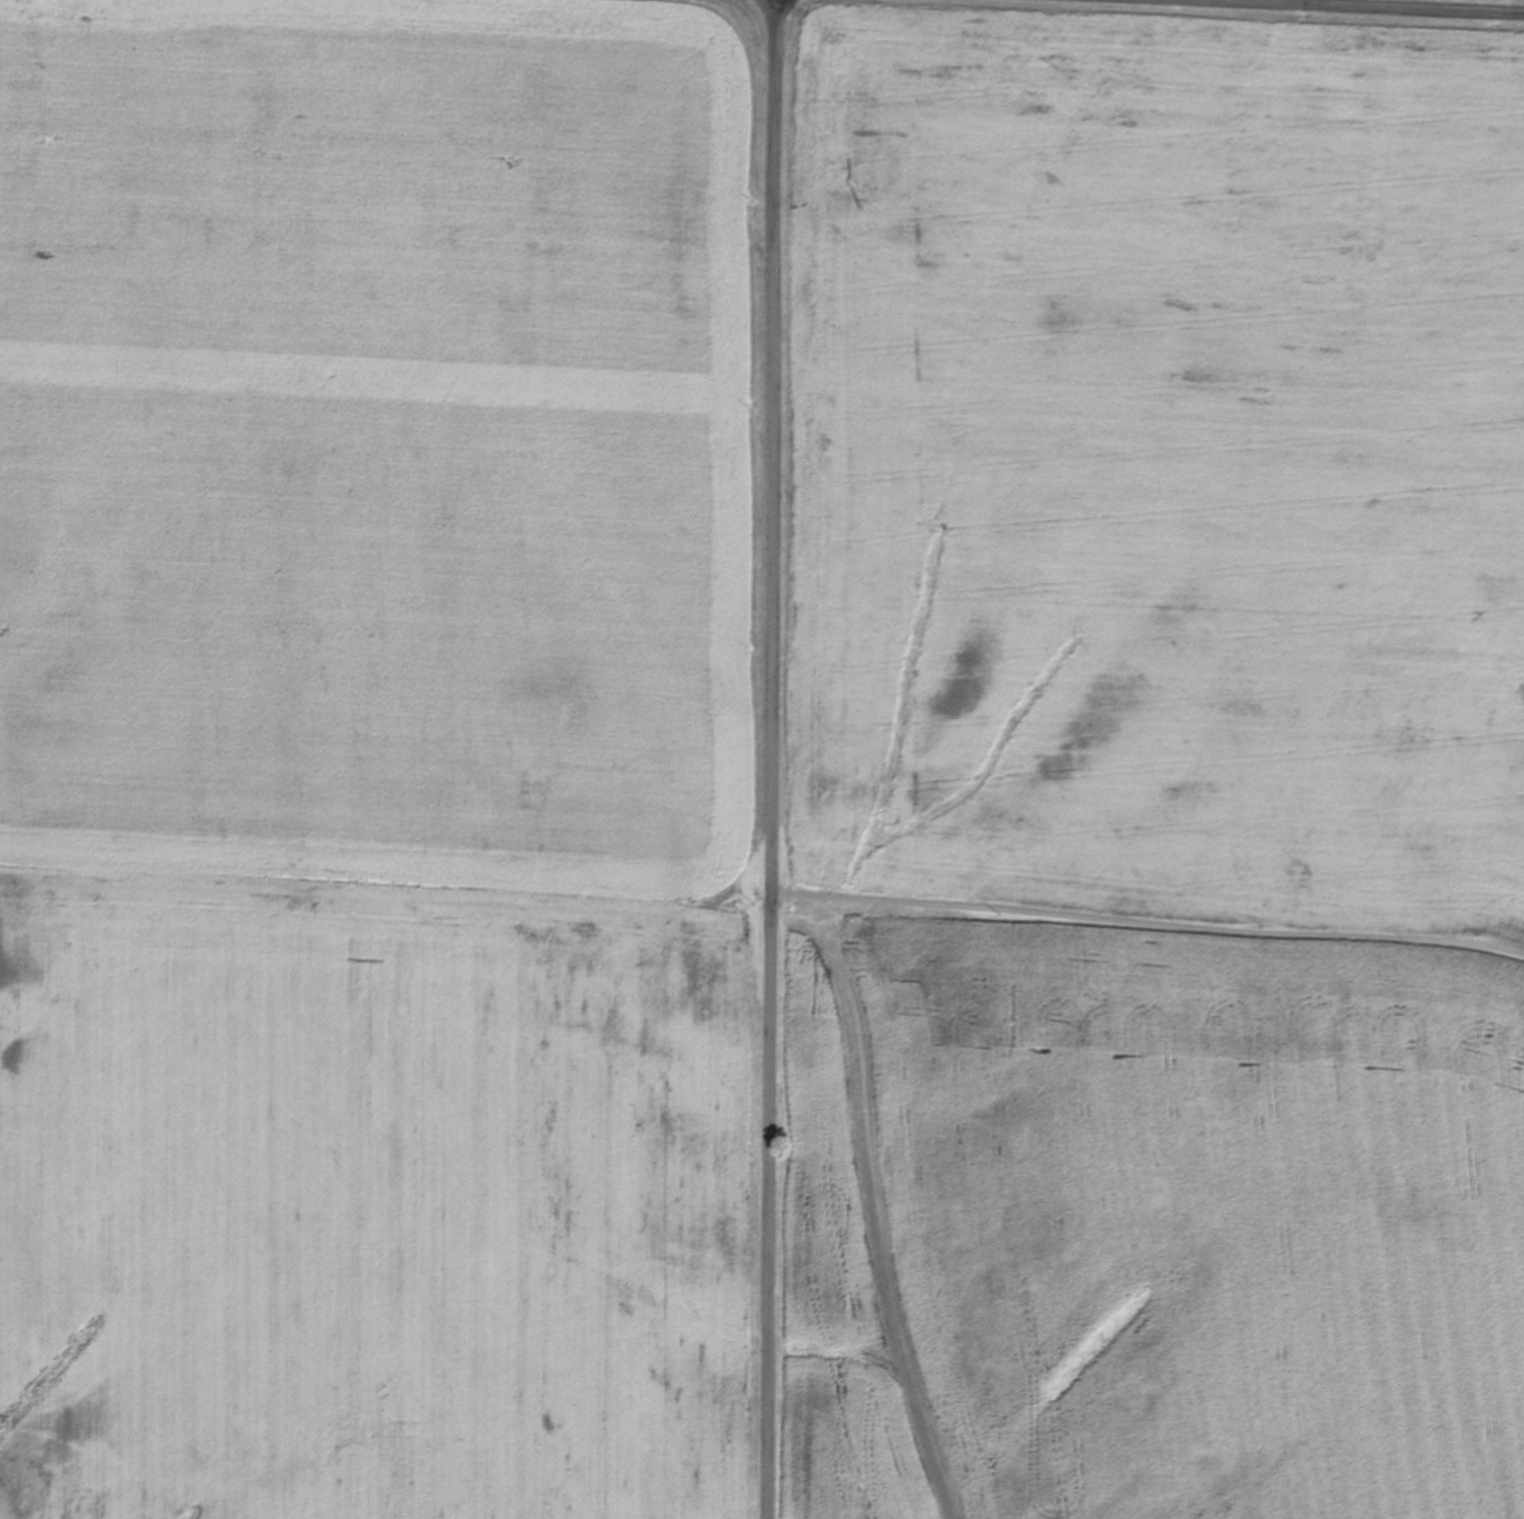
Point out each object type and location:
road: (1406, 5)
road: (775, 759)
road: (1149, 922)

